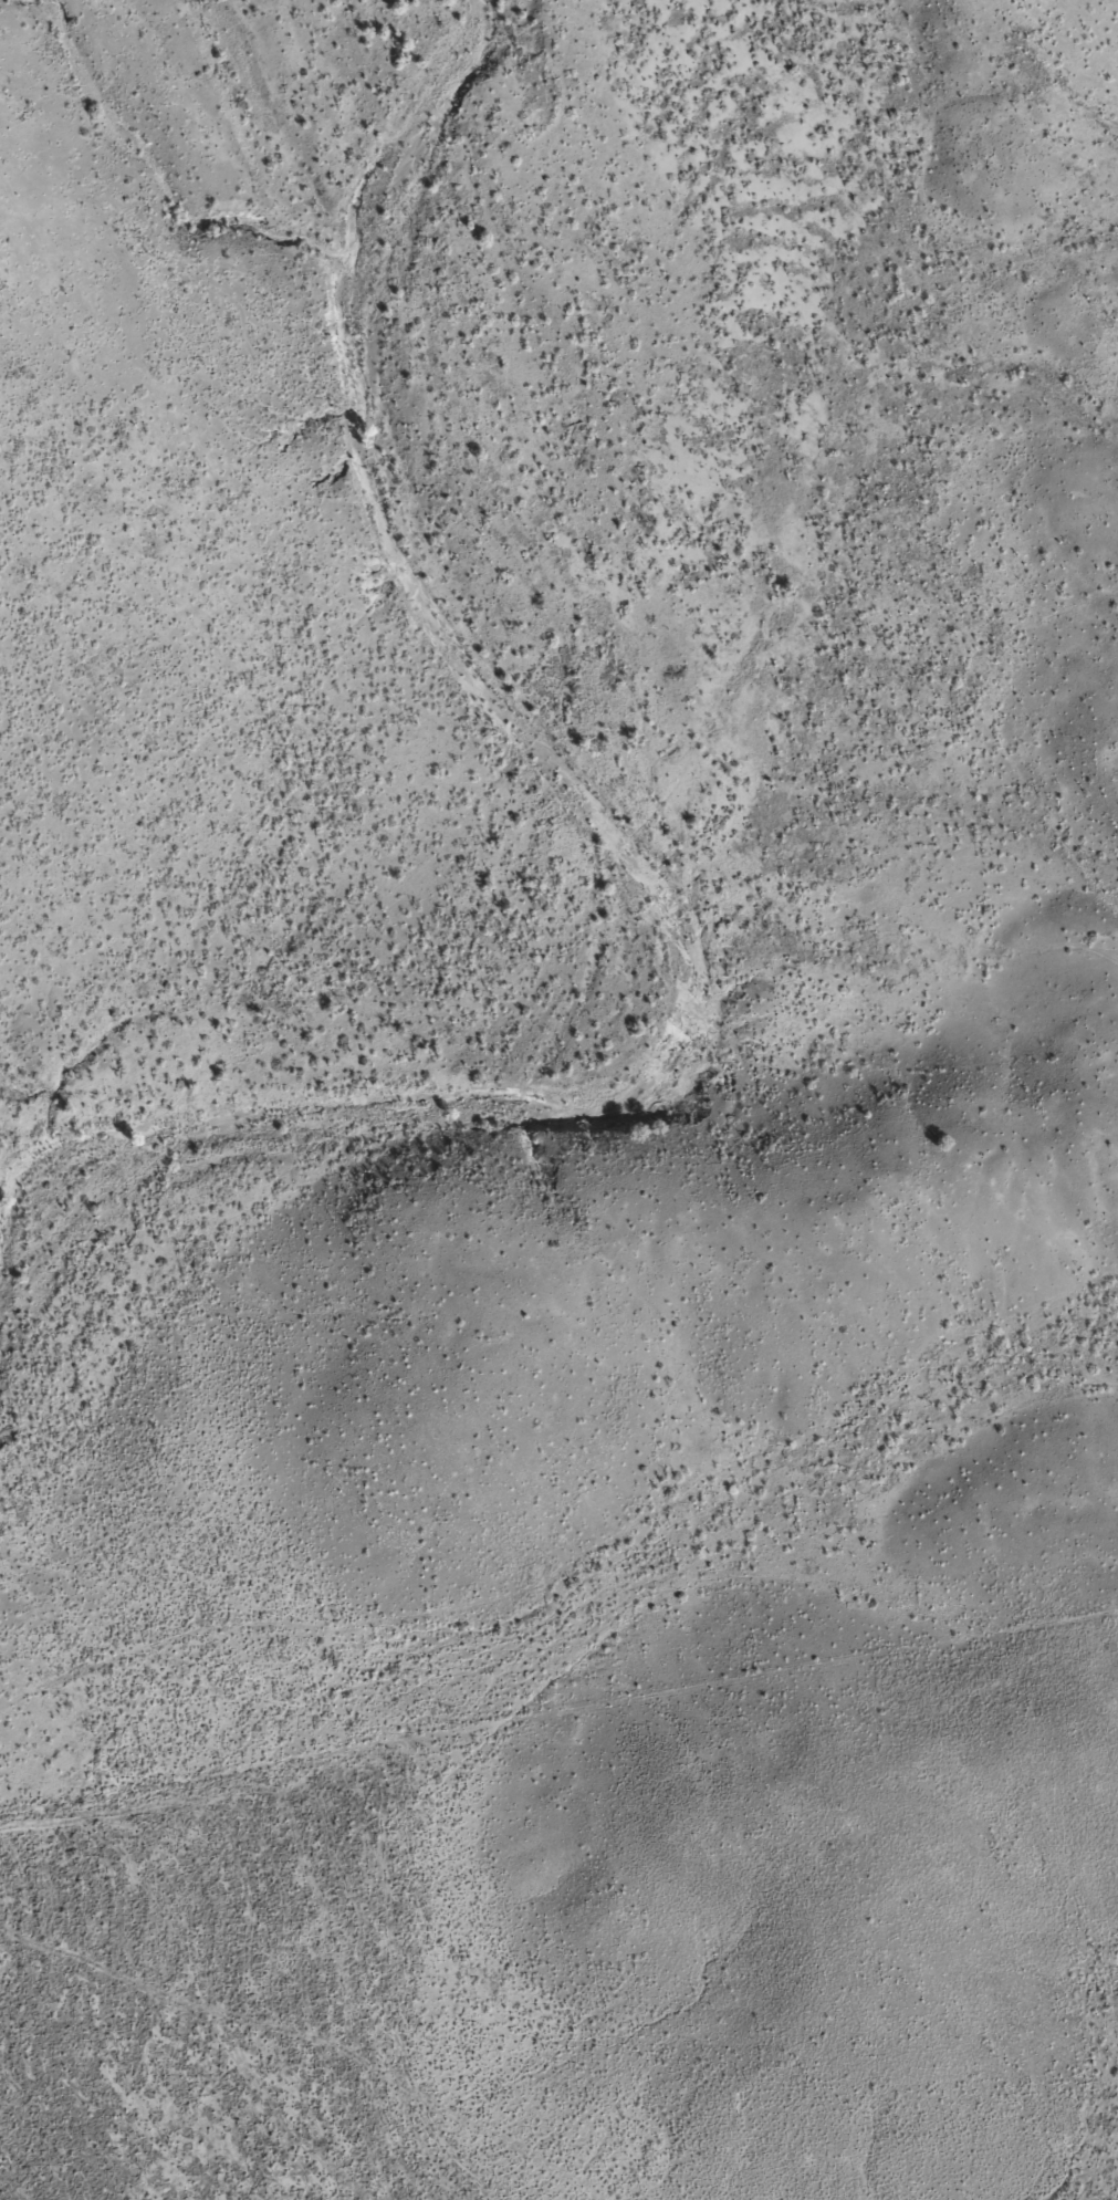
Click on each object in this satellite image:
road: (575, 1566)

